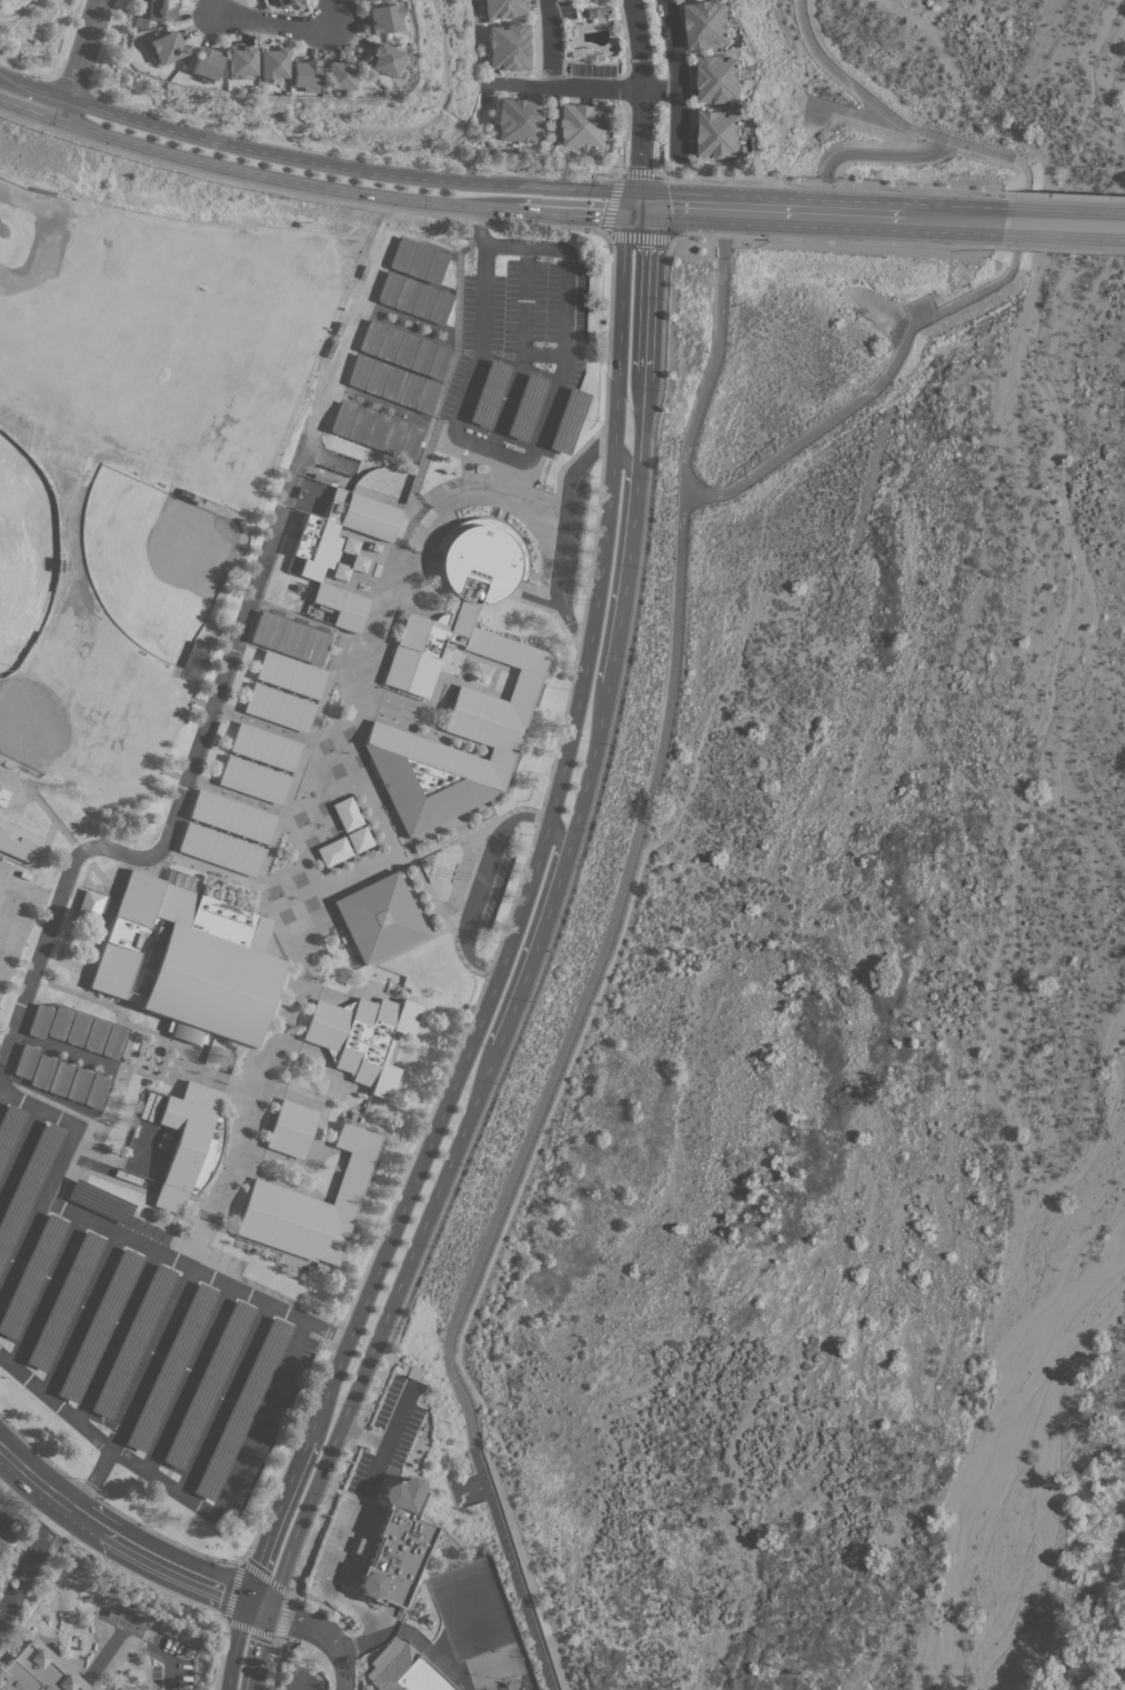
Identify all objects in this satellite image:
building: (368, 1)
building: (283, 2)
road: (337, 3)
building: (505, 8)
building: (161, 10)
building: (602, 11)
road: (19, 12)
building: (382, 19)
road: (279, 21)
building: (707, 23)
road: (554, 43)
building: (511, 47)
building: (165, 48)
road: (84, 58)
building: (240, 60)
building: (382, 60)
road: (54, 64)
building: (204, 64)
building: (272, 66)
building: (303, 74)
building: (338, 74)
road: (676, 78)
building: (720, 78)
road: (70, 82)
road: (584, 89)
road: (34, 102)
road: (642, 102)
road: (851, 111)
building: (519, 120)
building: (585, 124)
building: (720, 133)
road: (349, 151)
road: (860, 153)
road: (353, 169)
road: (832, 184)
road: (349, 192)
road: (1067, 196)
traffic signals: (639, 208)
road: (681, 209)
road: (773, 212)
road: (606, 218)
road: (912, 218)
road: (1064, 223)
road: (479, 228)
road: (836, 240)
road: (525, 247)
road: (1064, 249)
building: (403, 254)
building: (420, 261)
building: (436, 267)
road: (1010, 269)
building: (391, 289)
building: (408, 296)
building: (424, 301)
building: (441, 307)
road: (565, 307)
road: (616, 327)
building: (373, 338)
road: (643, 339)
building: (389, 343)
building: (406, 350)
road: (719, 350)
road: (522, 352)
building: (423, 357)
building: (439, 362)
building: (360, 372)
building: (376, 378)
building: (393, 384)
building: (411, 391)
building: (489, 394)
building: (426, 397)
building: (526, 408)
building: (342, 419)
building: (569, 421)
building: (359, 426)
road: (454, 430)
building: (375, 432)
building: (392, 438)
building: (409, 444)
road: (623, 463)
road: (689, 483)
road: (562, 541)
building: (342, 550)
road: (603, 552)
park: (22, 553)
building: (289, 639)
road: (607, 662)
building: (291, 674)
building: (410, 676)
building: (279, 708)
road: (565, 739)
building: (265, 747)
road: (549, 771)
building: (254, 780)
building: (3, 797)
road: (179, 799)
building: (348, 814)
building: (232, 817)
road: (554, 837)
building: (359, 839)
building: (19, 842)
building: (221, 850)
building: (334, 851)
road: (479, 882)
park: (0, 892)
building: (89, 907)
building: (380, 918)
park: (13, 923)
building: (189, 961)
park: (2, 976)
building: (40, 1021)
building: (60, 1023)
building: (78, 1029)
building: (96, 1036)
building: (362, 1038)
building: (113, 1042)
building: (26, 1061)
building: (42, 1072)
building: (60, 1079)
road: (1, 1084)
building: (78, 1086)
building: (97, 1091)
road: (543, 1100)
building: (292, 1129)
building: (9, 1130)
building: (190, 1144)
road: (56, 1169)
building: (27, 1187)
building: (100, 1202)
building: (310, 1207)
road: (382, 1258)
road: (401, 1266)
road: (195, 1269)
building: (31, 1276)
building: (66, 1301)
building: (99, 1326)
parking lot: (133, 1337)
building: (133, 1342)
building: (171, 1367)
building: (208, 1386)
building: (242, 1408)
road: (83, 1427)
road: (389, 1439)
road: (1, 1454)
road: (374, 1468)
road: (171, 1491)
road: (125, 1542)
building: (393, 1546)
road: (29, 1560)
road: (328, 1590)
traffic signals: (244, 1601)
traffic signals: (269, 1610)
building: (179, 1634)
road: (324, 1634)
road: (170, 1660)
building: (404, 1670)
building: (38, 1671)
road: (303, 1680)

